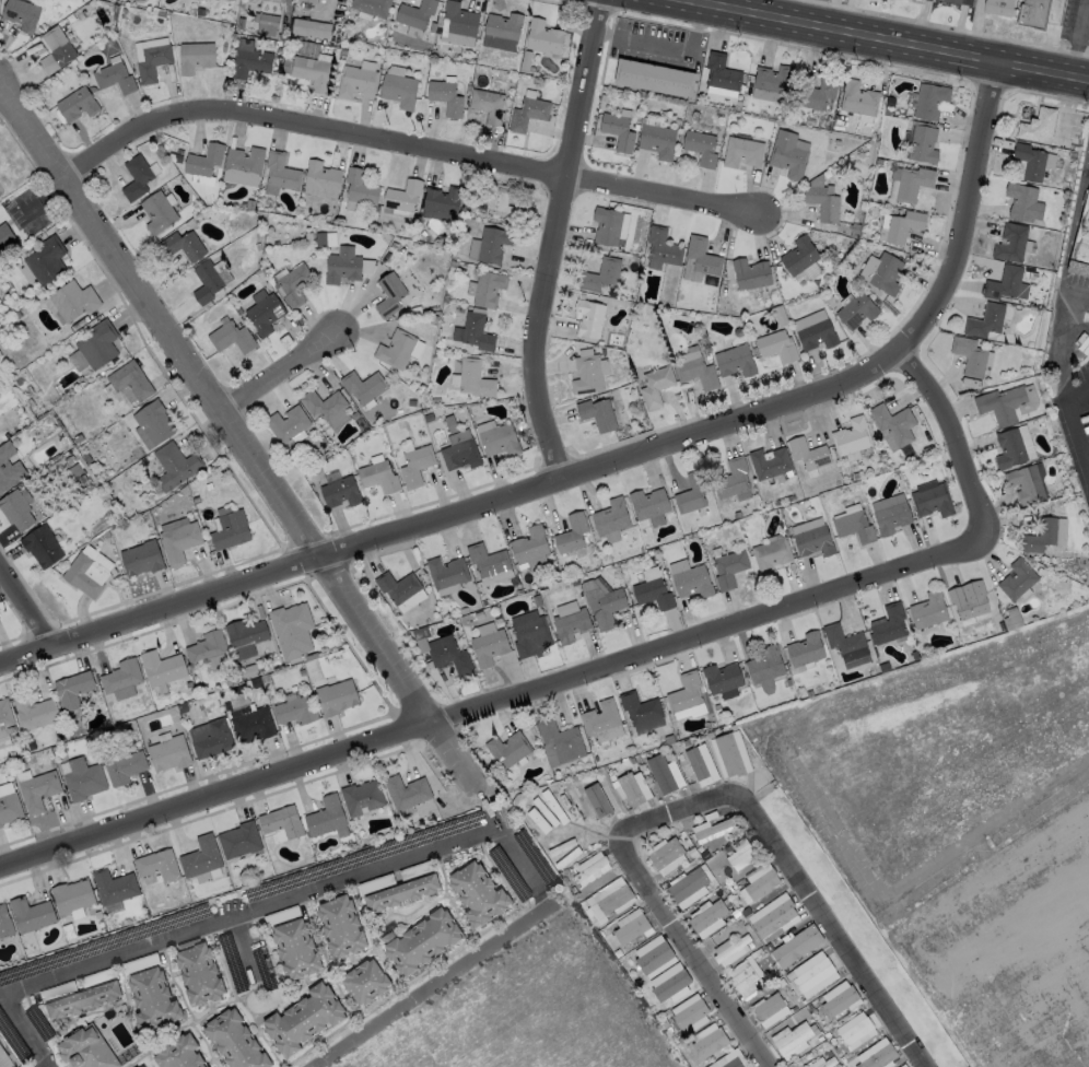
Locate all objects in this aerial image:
building: (312, 0)
road: (702, 1)
building: (949, 1)
building: (371, 7)
building: (995, 7)
building: (414, 13)
building: (1030, 13)
building: (20, 14)
building: (457, 20)
building: (268, 21)
building: (502, 25)
building: (309, 28)
building: (541, 36)
road: (888, 40)
building: (147, 46)
road: (667, 48)
building: (52, 49)
building: (194, 57)
building: (151, 62)
building: (249, 62)
building: (311, 72)
building: (721, 72)
building: (113, 78)
building: (653, 78)
building: (772, 79)
building: (355, 81)
building: (398, 90)
building: (818, 92)
building: (445, 97)
building: (857, 98)
building: (928, 101)
building: (75, 105)
building: (487, 106)
building: (526, 113)
building: (1035, 125)
building: (617, 130)
building: (656, 141)
road: (402, 142)
building: (922, 144)
building: (700, 148)
building: (740, 152)
building: (787, 154)
building: (202, 160)
building: (1029, 161)
building: (243, 162)
building: (280, 171)
building: (320, 177)
building: (134, 178)
building: (239, 178)
building: (911, 183)
building: (359, 187)
building: (402, 196)
building: (442, 199)
building: (821, 201)
building: (1022, 202)
building: (500, 204)
building: (155, 213)
building: (900, 225)
building: (606, 226)
building: (5, 236)
road: (549, 238)
building: (1009, 243)
building: (491, 244)
building: (181, 245)
building: (661, 246)
building: (1081, 249)
building: (798, 255)
building: (702, 259)
building: (46, 260)
building: (341, 266)
building: (880, 272)
building: (749, 273)
building: (600, 275)
building: (204, 281)
building: (293, 284)
building: (1005, 284)
building: (487, 289)
building: (388, 295)
building: (73, 300)
building: (855, 310)
building: (264, 314)
building: (588, 318)
building: (984, 320)
building: (475, 332)
building: (817, 335)
building: (231, 337)
road: (1075, 338)
building: (97, 344)
building: (776, 345)
building: (395, 350)
building: (968, 355)
building: (733, 361)
road: (283, 371)
building: (694, 373)
building: (586, 375)
building: (473, 379)
building: (130, 380)
building: (363, 386)
building: (654, 386)
building: (1000, 403)
building: (323, 404)
building: (596, 414)
road: (1074, 418)
building: (153, 421)
building: (892, 422)
building: (286, 423)
parking lot: (1077, 424)
road: (233, 434)
building: (851, 436)
building: (497, 441)
building: (1008, 448)
building: (807, 453)
building: (459, 454)
building: (768, 462)
road: (598, 465)
building: (174, 466)
building: (414, 466)
building: (9, 467)
building: (378, 477)
building: (731, 478)
building: (1026, 482)
building: (339, 492)
building: (691, 492)
building: (932, 501)
building: (646, 503)
building: (15, 509)
building: (890, 516)
building: (609, 517)
building: (853, 526)
building: (229, 530)
building: (570, 533)
building: (1039, 535)
building: (178, 541)
building: (812, 541)
building: (528, 544)
building: (40, 546)
building: (770, 555)
building: (140, 558)
building: (485, 560)
building: (728, 568)
building: (445, 572)
building: (649, 573)
building: (84, 575)
building: (1016, 578)
building: (691, 582)
building: (396, 586)
building: (652, 594)
building: (968, 598)
building: (601, 605)
road: (24, 608)
building: (927, 609)
building: (570, 624)
building: (888, 624)
building: (291, 630)
building: (244, 636)
building: (529, 636)
building: (842, 640)
building: (487, 647)
building: (804, 648)
building: (208, 650)
building: (449, 657)
building: (764, 665)
building: (161, 667)
road: (593, 669)
building: (120, 676)
building: (722, 679)
building: (71, 689)
building: (336, 696)
building: (686, 696)
building: (639, 707)
building: (295, 710)
building: (4, 712)
building: (33, 712)
building: (600, 722)
building: (253, 725)
building: (213, 739)
building: (558, 742)
building: (506, 749)
building: (168, 752)
building: (727, 754)
building: (694, 763)
building: (122, 767)
building: (659, 773)
building: (82, 778)
building: (629, 789)
building: (37, 790)
building: (406, 793)
building: (361, 798)
building: (596, 800)
road: (700, 801)
building: (9, 807)
road: (485, 807)
building: (325, 817)
building: (281, 822)
building: (0, 825)
building: (712, 829)
building: (238, 840)
building: (664, 853)
building: (737, 854)
building: (201, 858)
building: (156, 865)
road: (519, 867)
building: (588, 869)
building: (760, 883)
building: (686, 884)
building: (113, 886)
building: (401, 892)
building: (476, 893)
building: (72, 898)
building: (613, 899)
building: (30, 914)
building: (706, 914)
building: (770, 914)
building: (4, 923)
road: (211, 923)
building: (339, 926)
building: (630, 929)
building: (420, 941)
road: (242, 945)
building: (795, 946)
building: (730, 948)
building: (294, 949)
building: (653, 958)
building: (197, 972)
building: (811, 975)
building: (742, 978)
building: (363, 982)
building: (669, 985)
road: (431, 986)
building: (151, 999)
building: (81, 1000)
building: (838, 1001)
building: (765, 1007)
building: (689, 1015)
building: (302, 1019)
building: (855, 1031)
building: (793, 1037)
building: (234, 1041)
building: (706, 1041)
building: (85, 1048)
building: (178, 1053)
building: (878, 1057)
building: (4, 1059)
building: (731, 1063)
building: (827, 1063)
building: (142, 1066)
building: (204, 1066)
building: (902, 1066)

